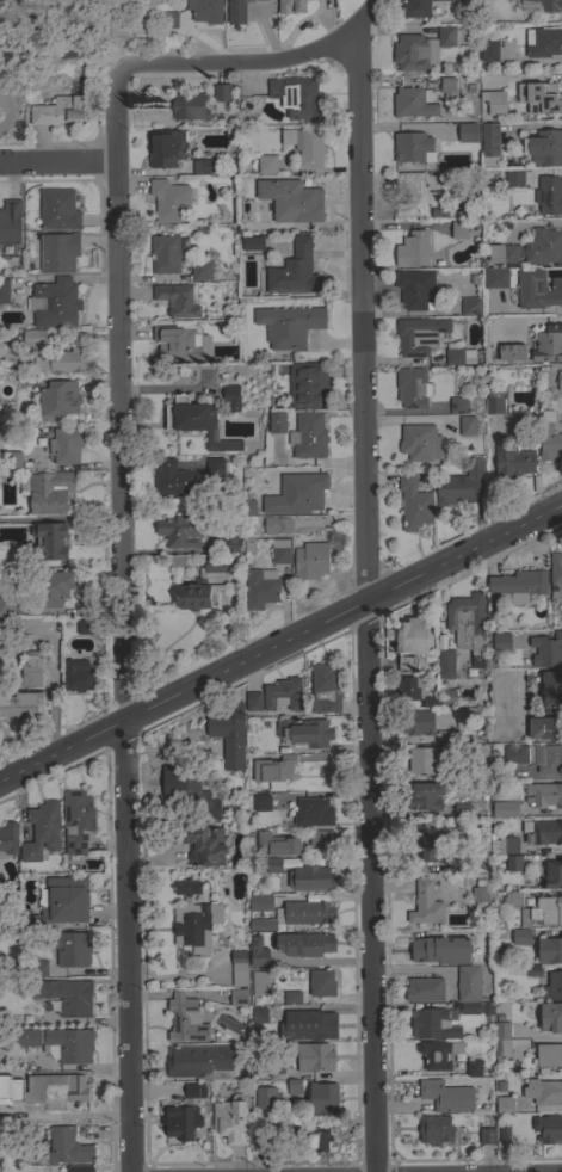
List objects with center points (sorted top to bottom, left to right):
building: (513, 0)
building: (550, 5)
building: (291, 6)
building: (236, 7)
building: (415, 8)
building: (205, 11)
building: (168, 19)
building: (446, 36)
building: (542, 42)
building: (488, 49)
building: (414, 53)
road: (257, 68)
building: (449, 88)
building: (221, 92)
building: (295, 95)
building: (539, 97)
building: (494, 101)
building: (413, 103)
building: (187, 105)
building: (58, 111)
building: (447, 131)
building: (463, 134)
building: (489, 140)
building: (305, 146)
building: (414, 147)
building: (166, 148)
building: (545, 148)
road: (58, 165)
building: (263, 165)
building: (203, 167)
building: (513, 178)
building: (549, 195)
building: (412, 196)
building: (168, 201)
building: (291, 201)
building: (57, 210)
building: (439, 211)
building: (10, 223)
building: (458, 230)
building: (253, 243)
building: (543, 247)
building: (412, 249)
building: (58, 252)
building: (165, 253)
building: (504, 254)
building: (200, 270)
building: (294, 271)
building: (495, 278)
building: (414, 288)
building: (537, 289)
building: (4, 291)
building: (175, 300)
building: (54, 303)
building: (470, 307)
building: (288, 326)
building: (420, 335)
building: (33, 338)
building: (177, 344)
building: (548, 344)
building: (512, 352)
building: (459, 357)
building: (64, 358)
building: (558, 381)
building: (308, 384)
building: (412, 388)
building: (230, 397)
building: (58, 399)
building: (493, 403)
building: (458, 405)
building: (561, 418)
building: (197, 421)
building: (276, 422)
building: (467, 425)
building: (308, 436)
building: (549, 438)
building: (419, 443)
building: (66, 445)
building: (12, 459)
building: (512, 461)
building: (215, 468)
building: (175, 480)
building: (459, 483)
building: (49, 492)
building: (296, 494)
building: (413, 504)
building: (248, 507)
building: (277, 525)
building: (178, 531)
building: (49, 539)
building: (231, 543)
building: (247, 545)
building: (279, 551)
building: (310, 561)
building: (555, 574)
building: (202, 586)
building: (518, 586)
building: (54, 587)
building: (260, 588)
road: (370, 600)
building: (4, 607)
road: (124, 623)
building: (467, 624)
building: (84, 627)
building: (412, 636)
building: (500, 641)
road: (279, 647)
building: (545, 649)
building: (406, 664)
building: (445, 664)
building: (30, 671)
building: (76, 673)
building: (325, 687)
building: (414, 690)
building: (550, 691)
building: (282, 695)
building: (446, 696)
building: (253, 702)
building: (20, 705)
building: (416, 722)
building: (543, 728)
building: (304, 732)
building: (228, 739)
building: (539, 757)
building: (424, 760)
building: (272, 771)
building: (451, 772)
building: (187, 785)
building: (544, 795)
building: (425, 796)
building: (260, 802)
building: (461, 809)
building: (505, 809)
building: (313, 812)
building: (78, 821)
building: (41, 831)
building: (529, 838)
building: (7, 839)
building: (321, 839)
building: (198, 844)
building: (427, 844)
building: (277, 845)
building: (513, 863)
building: (268, 864)
building: (459, 864)
building: (551, 875)
building: (310, 878)
building: (480, 894)
building: (513, 899)
building: (64, 900)
building: (260, 901)
building: (425, 903)
building: (308, 912)
building: (543, 912)
building: (192, 918)
building: (29, 923)
building: (265, 925)
building: (520, 937)
building: (304, 944)
building: (72, 949)
building: (439, 950)
building: (549, 950)
building: (257, 951)
building: (37, 968)
building: (239, 968)
road: (425, 969)
building: (527, 973)
building: (260, 982)
building: (321, 982)
building: (468, 983)
building: (552, 986)
building: (425, 989)
building: (66, 995)
building: (236, 997)
building: (290, 997)
building: (475, 1008)
building: (258, 1016)
building: (550, 1018)
building: (185, 1019)
building: (319, 1024)
building: (432, 1024)
building: (501, 1042)
building: (58, 1043)
building: (437, 1054)
building: (546, 1055)
building: (311, 1056)
building: (197, 1060)
building: (473, 1067)
building: (4, 1081)
building: (294, 1086)
building: (55, 1091)
building: (543, 1091)
building: (191, 1092)
building: (445, 1096)
building: (266, 1098)
building: (321, 1098)
building: (502, 1102)
building: (230, 1119)
building: (180, 1122)
building: (434, 1129)
building: (548, 1129)
building: (504, 1134)
building: (486, 1135)
building: (316, 1139)
building: (67, 1147)
building: (79, 1168)

